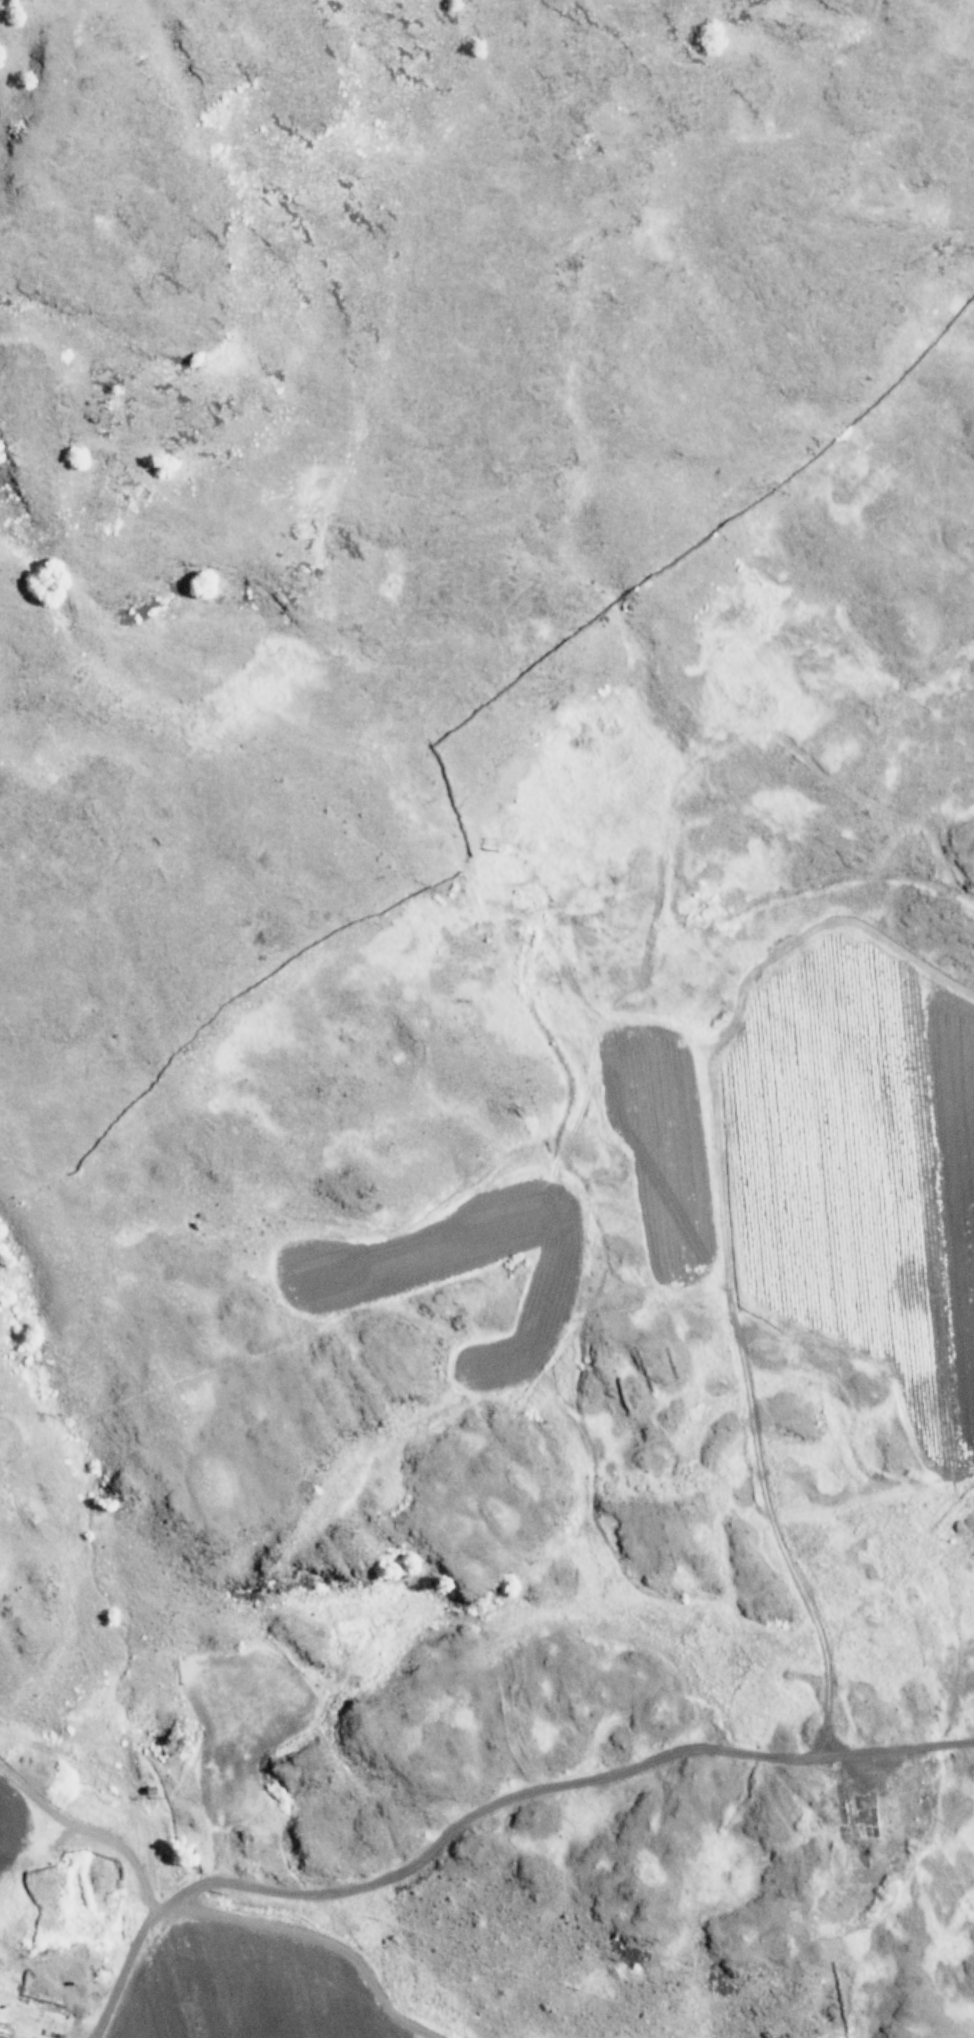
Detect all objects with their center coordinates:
road: (481, 1810)

